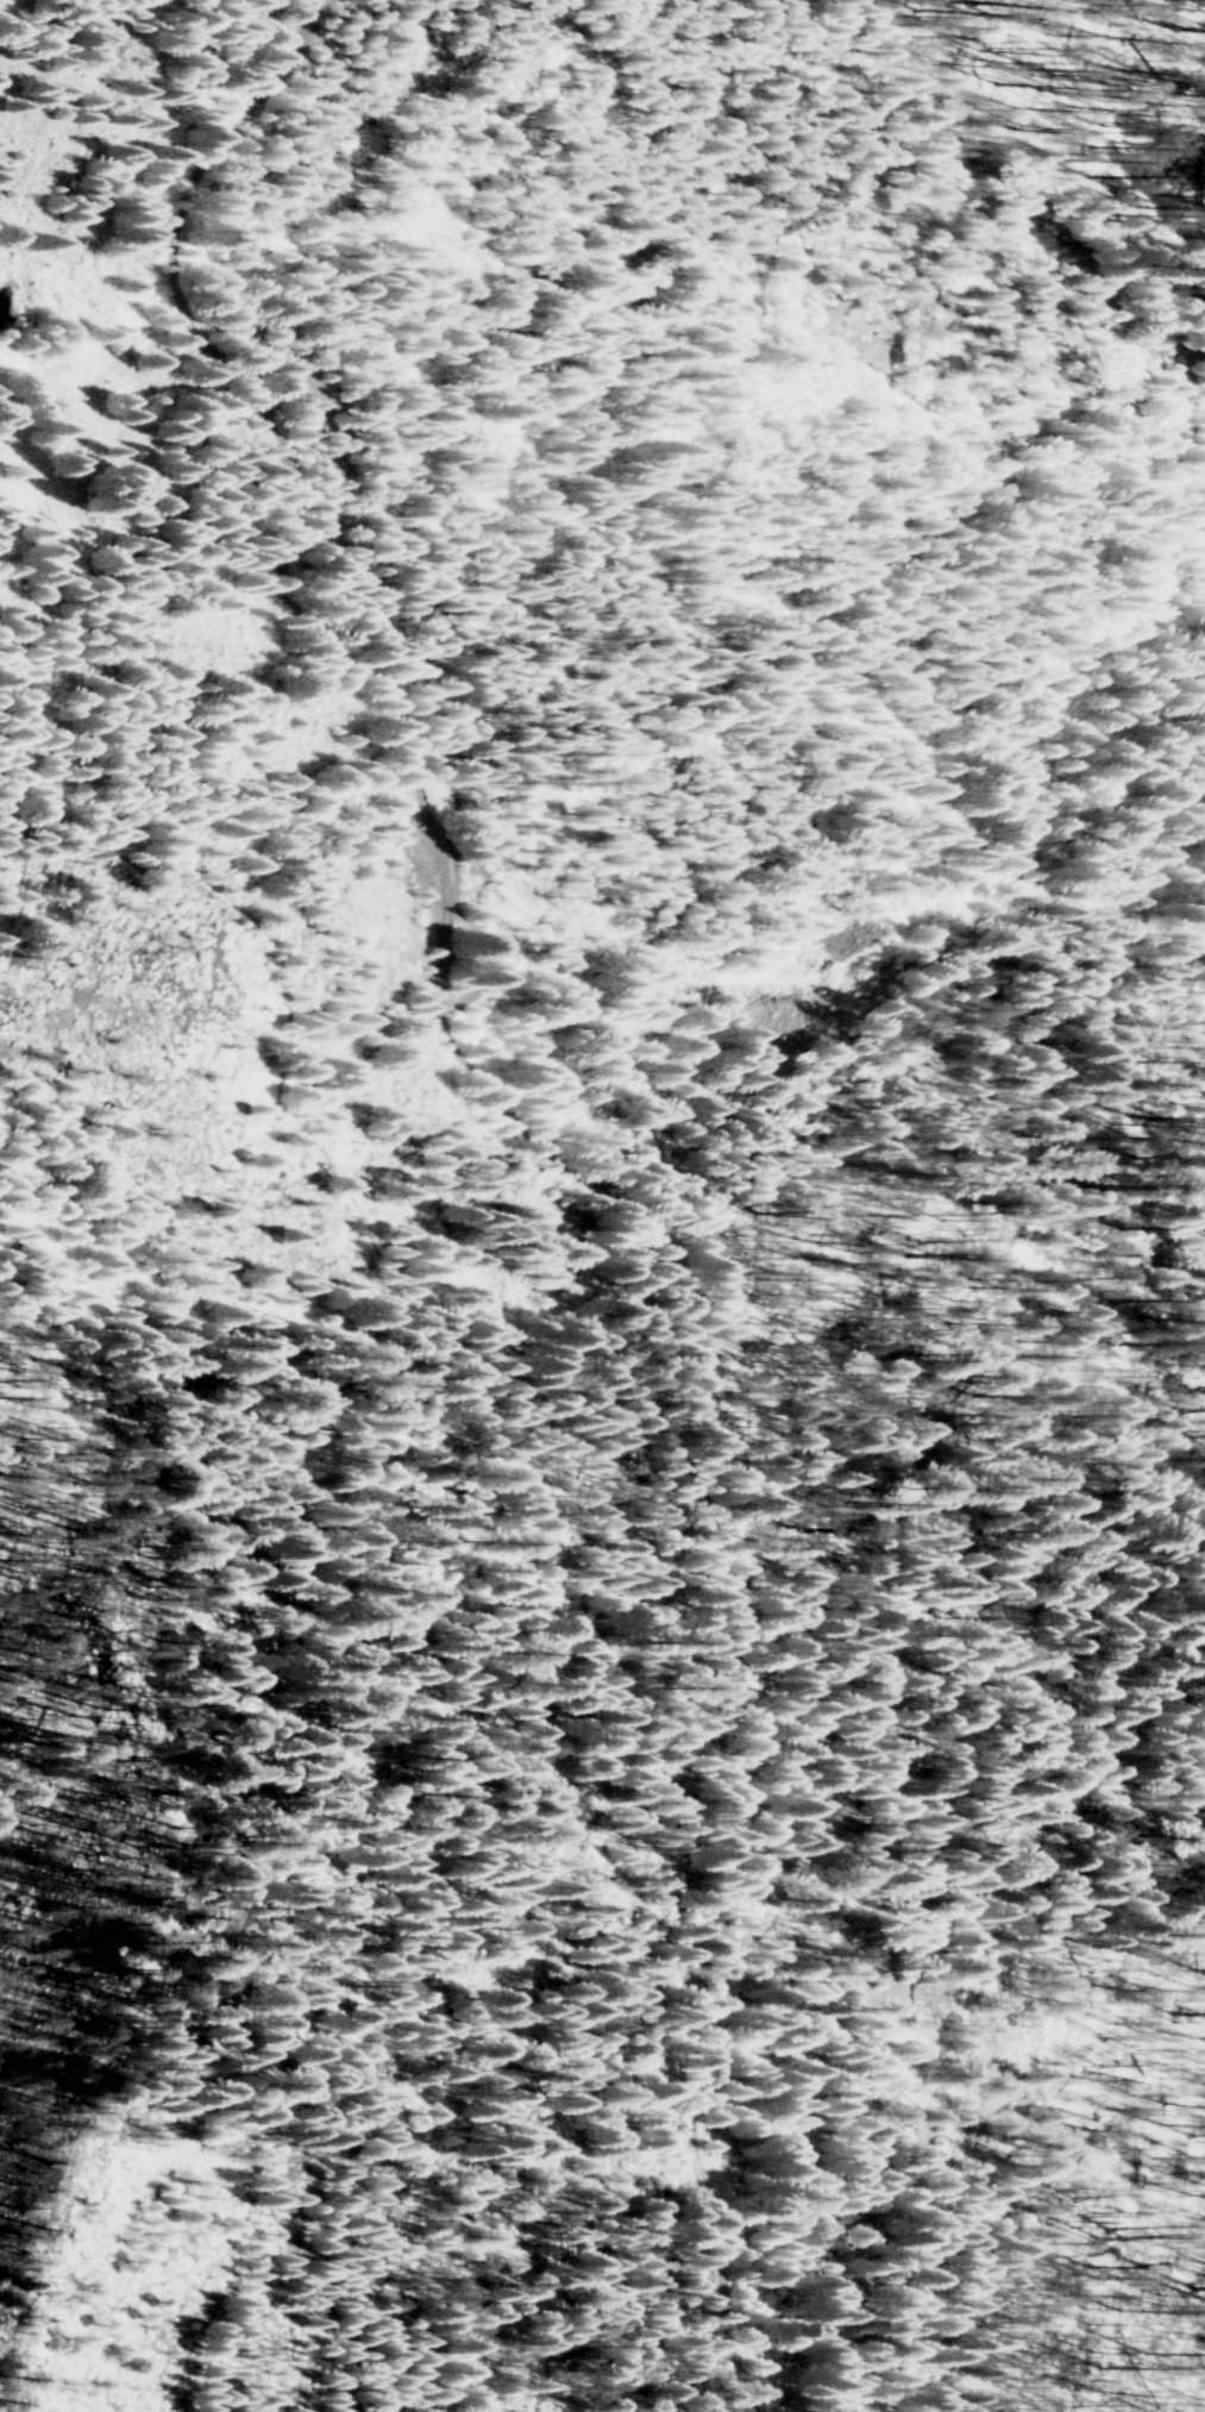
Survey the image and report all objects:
road: (197, 37)
road: (541, 1152)
road: (358, 1541)

